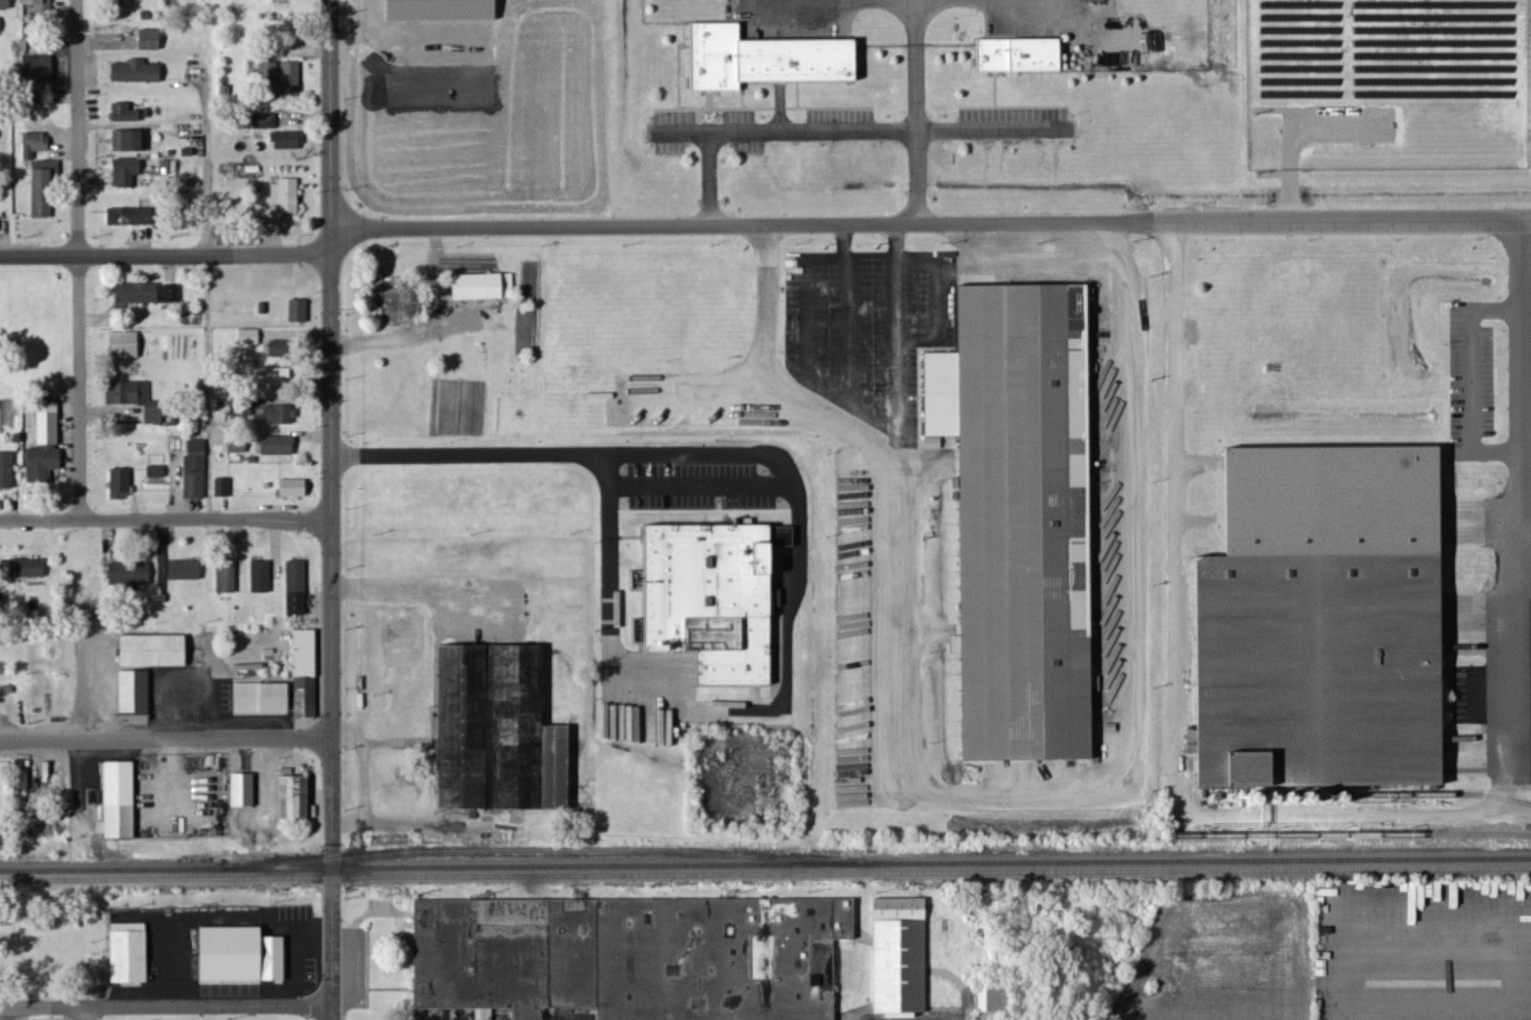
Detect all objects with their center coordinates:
building: (44, 7)
building: (448, 10)
building: (0, 25)
building: (30, 39)
building: (151, 41)
building: (1012, 55)
building: (760, 60)
building: (40, 68)
building: (269, 71)
building: (139, 72)
building: (292, 79)
solar farm: (1387, 84)
building: (125, 113)
building: (266, 121)
building: (130, 141)
building: (287, 141)
building: (35, 144)
building: (127, 173)
building: (45, 190)
building: (287, 196)
building: (131, 217)
road: (932, 224)
road: (166, 257)
road: (79, 260)
building: (486, 287)
building: (148, 294)
road: (934, 298)
building: (396, 301)
building: (299, 311)
road: (847, 330)
road: (807, 334)
building: (251, 337)
road: (894, 339)
building: (128, 346)
building: (281, 349)
building: (274, 377)
road: (1465, 379)
road: (209, 389)
building: (136, 399)
building: (241, 407)
building: (277, 416)
building: (47, 447)
building: (240, 447)
building: (280, 447)
building: (196, 469)
building: (7, 471)
building: (157, 476)
building: (121, 484)
building: (222, 488)
building: (294, 489)
building: (1026, 507)
road: (333, 509)
road: (166, 521)
building: (29, 569)
building: (186, 571)
building: (130, 574)
building: (262, 578)
building: (228, 579)
road: (410, 581)
building: (297, 589)
building: (706, 597)
building: (157, 652)
building: (285, 684)
building: (137, 692)
building: (637, 723)
building: (504, 733)
road: (166, 739)
building: (1222, 771)
building: (245, 791)
road: (971, 795)
building: (296, 799)
building: (122, 801)
road: (1341, 811)
railway: (1349, 834)
railway: (542, 850)
railway: (765, 864)
railway: (817, 873)
railway: (51, 879)
building: (132, 954)
building: (244, 956)
building: (632, 957)
building: (895, 958)
building: (990, 999)
road: (166, 1008)
road: (86, 1014)
park: (208, 1016)

